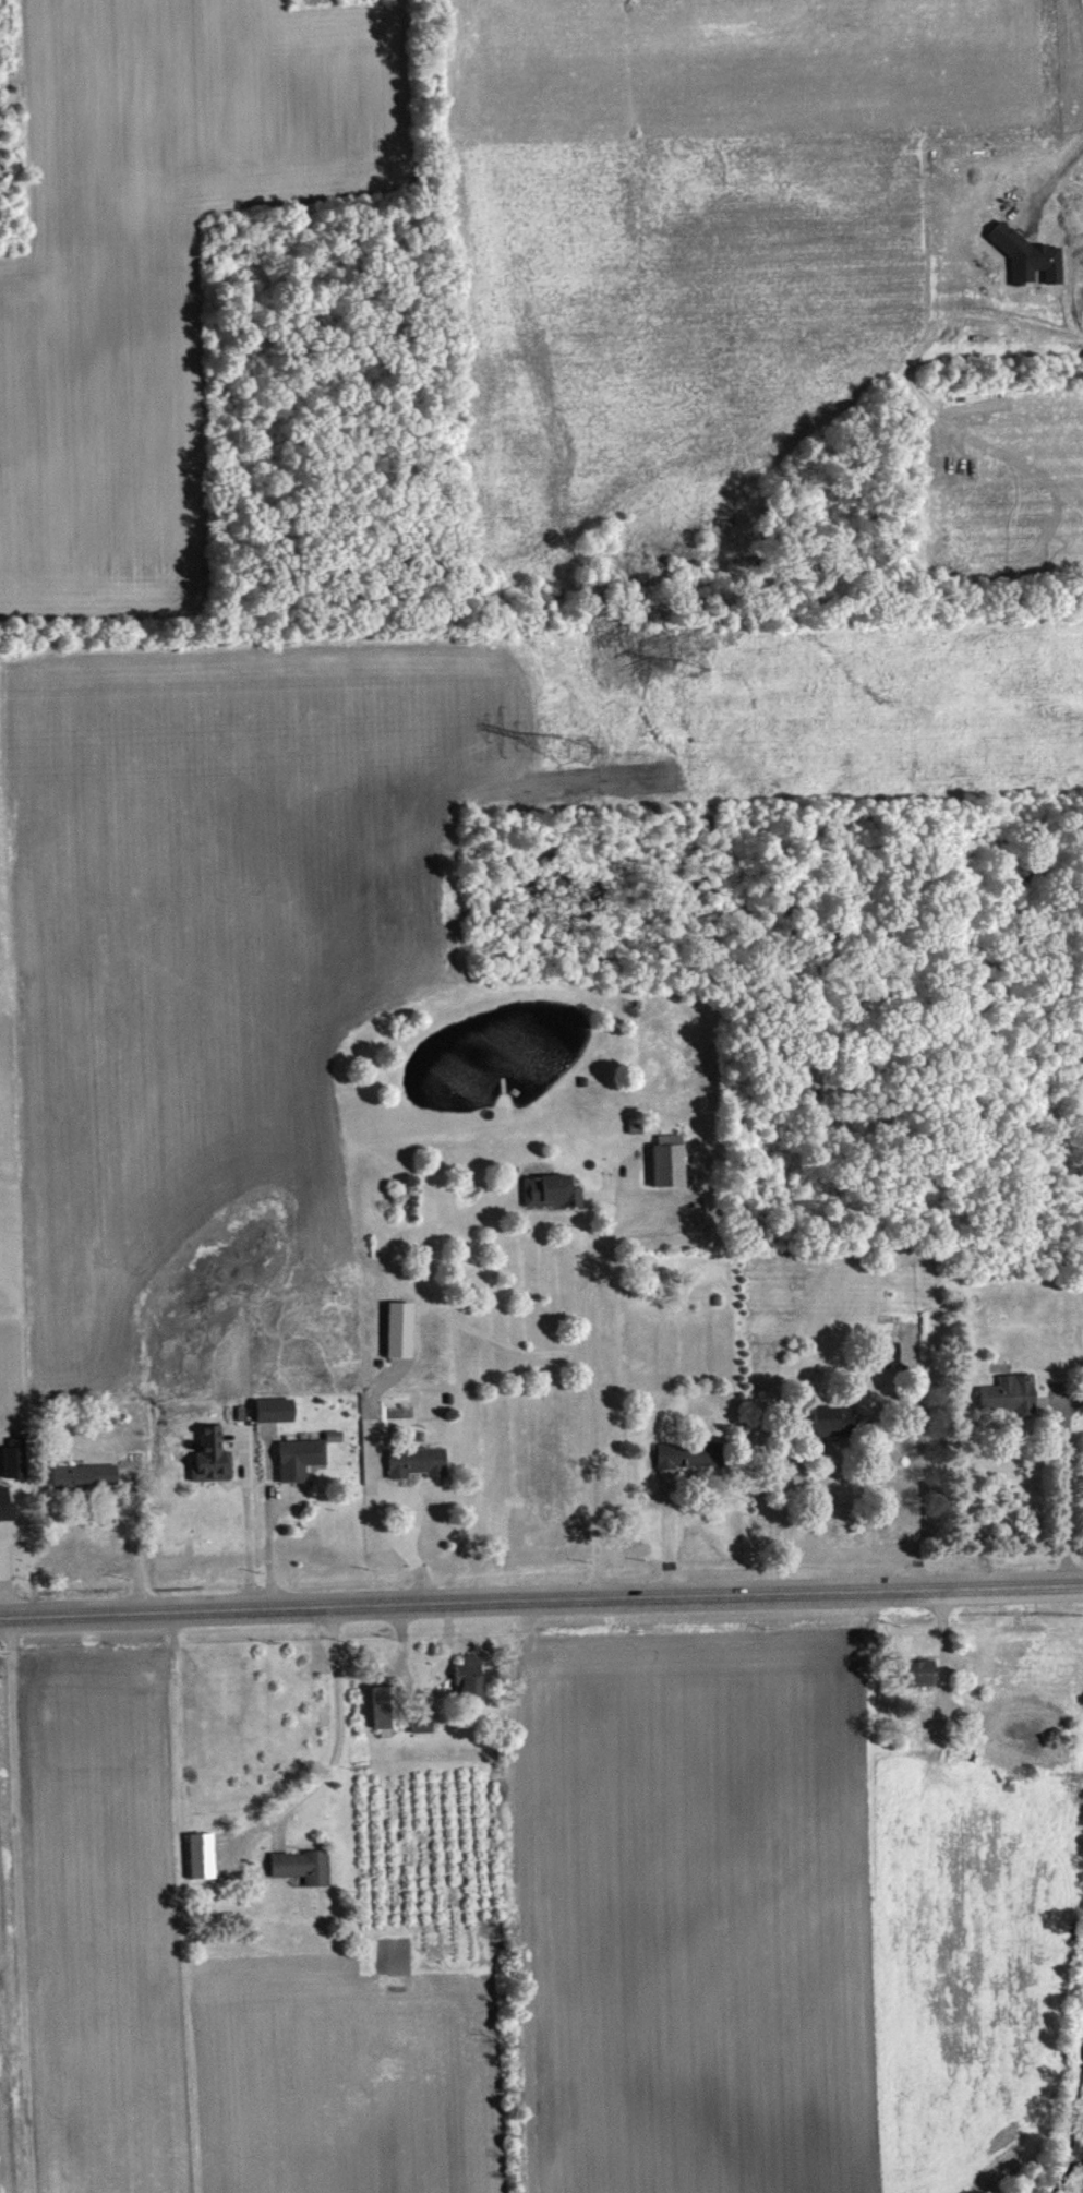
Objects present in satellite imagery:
road: (1057, 177)
building: (1030, 256)
power tower: (685, 670)
power tower: (575, 750)
building: (671, 1161)
building: (553, 1191)
building: (892, 1352)
road: (594, 1392)
building: (1013, 1394)
building: (277, 1411)
building: (837, 1422)
building: (693, 1455)
building: (215, 1457)
building: (17, 1459)
building: (303, 1459)
building: (420, 1462)
building: (87, 1476)
road: (1068, 1495)
road: (920, 1498)
building: (8, 1506)
road: (397, 1536)
road: (251, 1541)
road: (673, 1541)
road: (141, 1542)
road: (273, 1551)
road: (541, 1603)
building: (924, 1674)
building: (472, 1679)
building: (388, 1707)
building: (424, 1723)
road: (342, 1727)
building: (204, 1856)
building: (305, 1867)
crop: (98, 1910)
crop: (777, 1915)
crop: (352, 2070)

